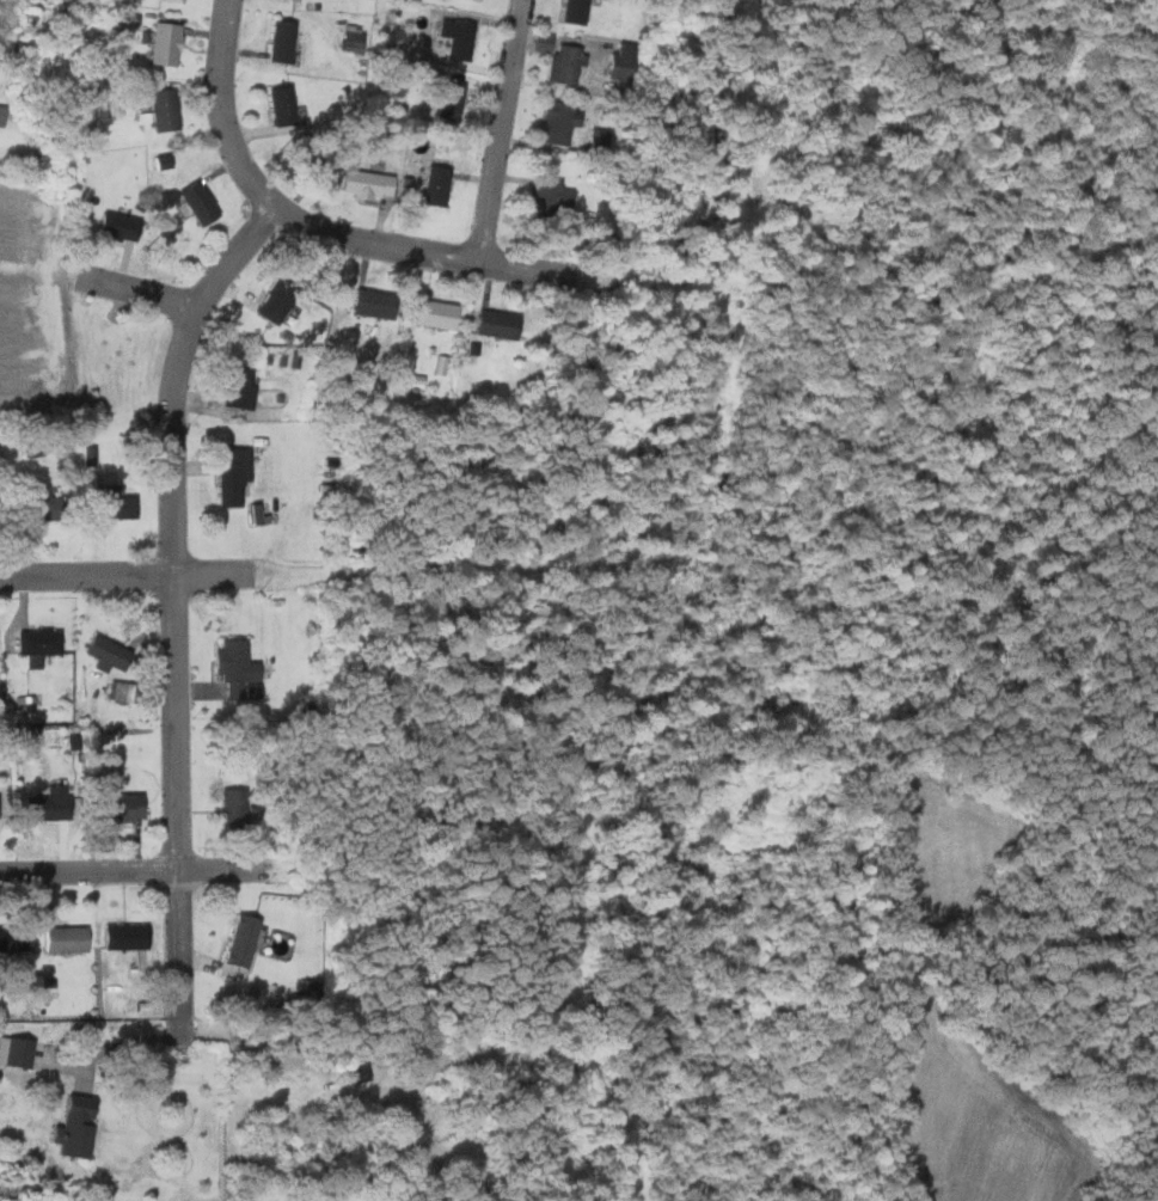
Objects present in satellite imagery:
building: (176, 0)
building: (293, 0)
building: (472, 0)
building: (580, 11)
building: (460, 36)
building: (357, 37)
building: (284, 41)
building: (167, 42)
building: (627, 59)
building: (570, 63)
building: (447, 100)
building: (286, 103)
building: (166, 109)
building: (2, 112)
building: (564, 121)
road: (503, 131)
building: (598, 139)
building: (374, 183)
building: (441, 184)
building: (557, 196)
building: (202, 201)
building: (123, 225)
road: (310, 226)
road: (141, 290)
building: (282, 299)
building: (379, 302)
building: (439, 313)
building: (498, 324)
building: (245, 386)
building: (238, 473)
building: (45, 503)
building: (116, 503)
road: (215, 574)
road: (87, 575)
road: (177, 609)
building: (43, 641)
building: (111, 654)
building: (239, 664)
building: (127, 690)
building: (49, 804)
building: (1, 805)
building: (127, 807)
building: (237, 809)
road: (131, 870)
building: (129, 936)
building: (14, 938)
building: (69, 938)
building: (244, 939)
road: (118, 1047)
building: (13, 1050)
building: (359, 1062)
building: (80, 1126)

